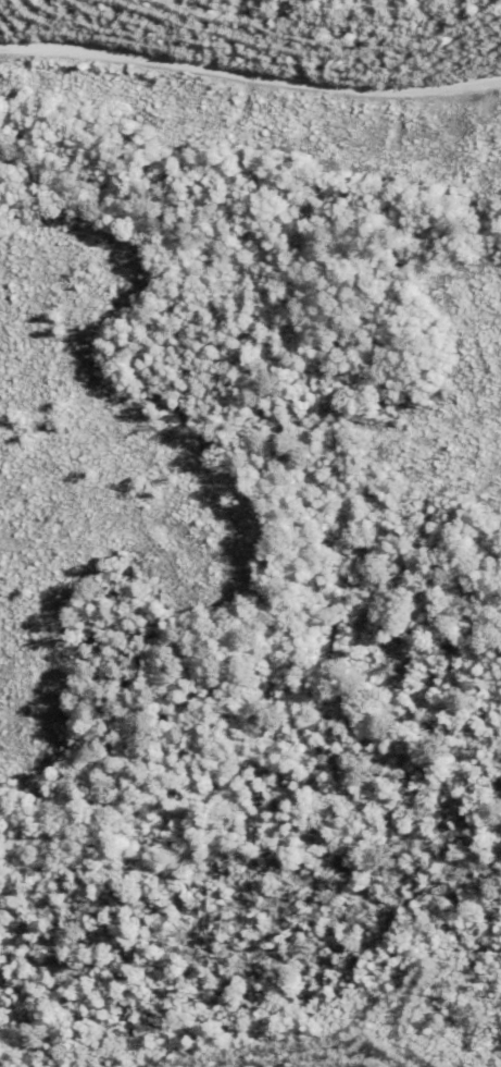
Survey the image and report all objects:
road: (250, 74)

